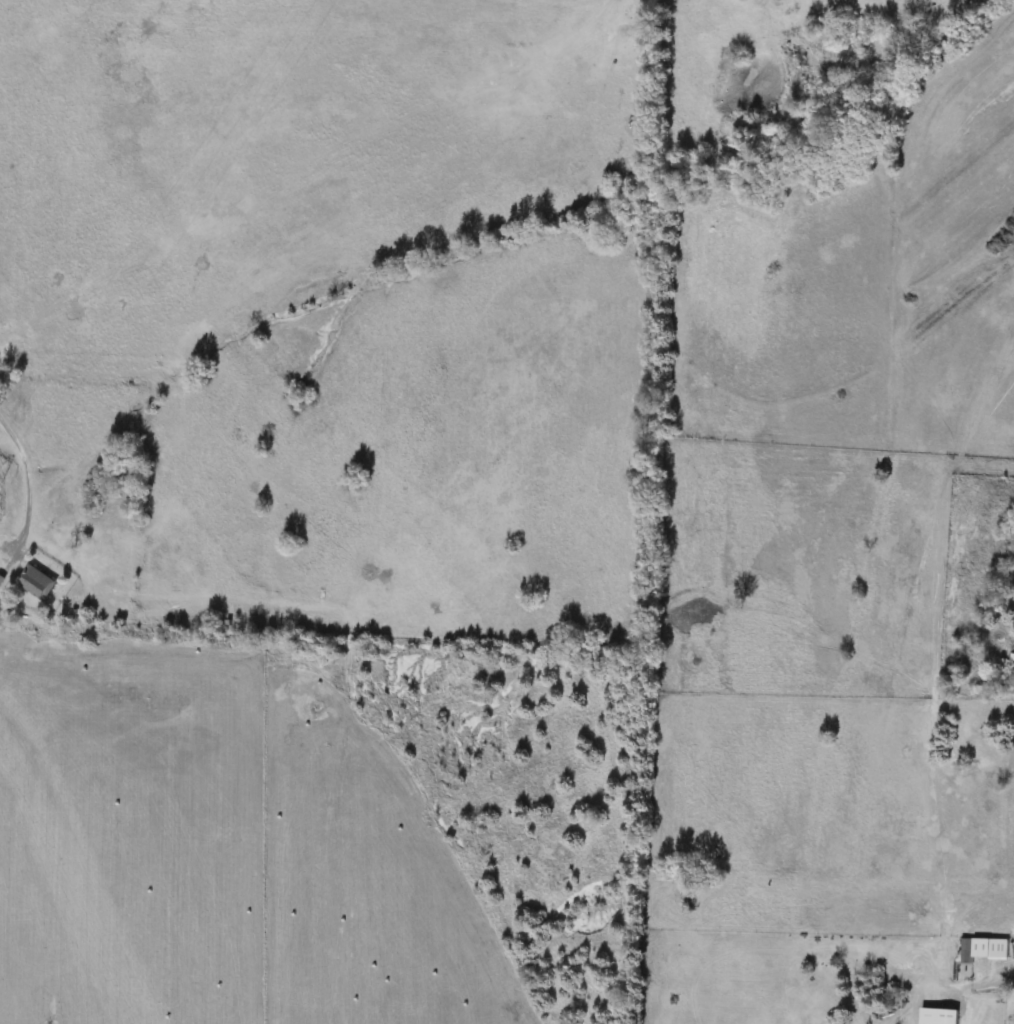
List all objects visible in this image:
road: (26, 481)
building: (38, 583)
building: (1012, 661)
building: (999, 950)
building: (968, 953)
building: (939, 1017)

